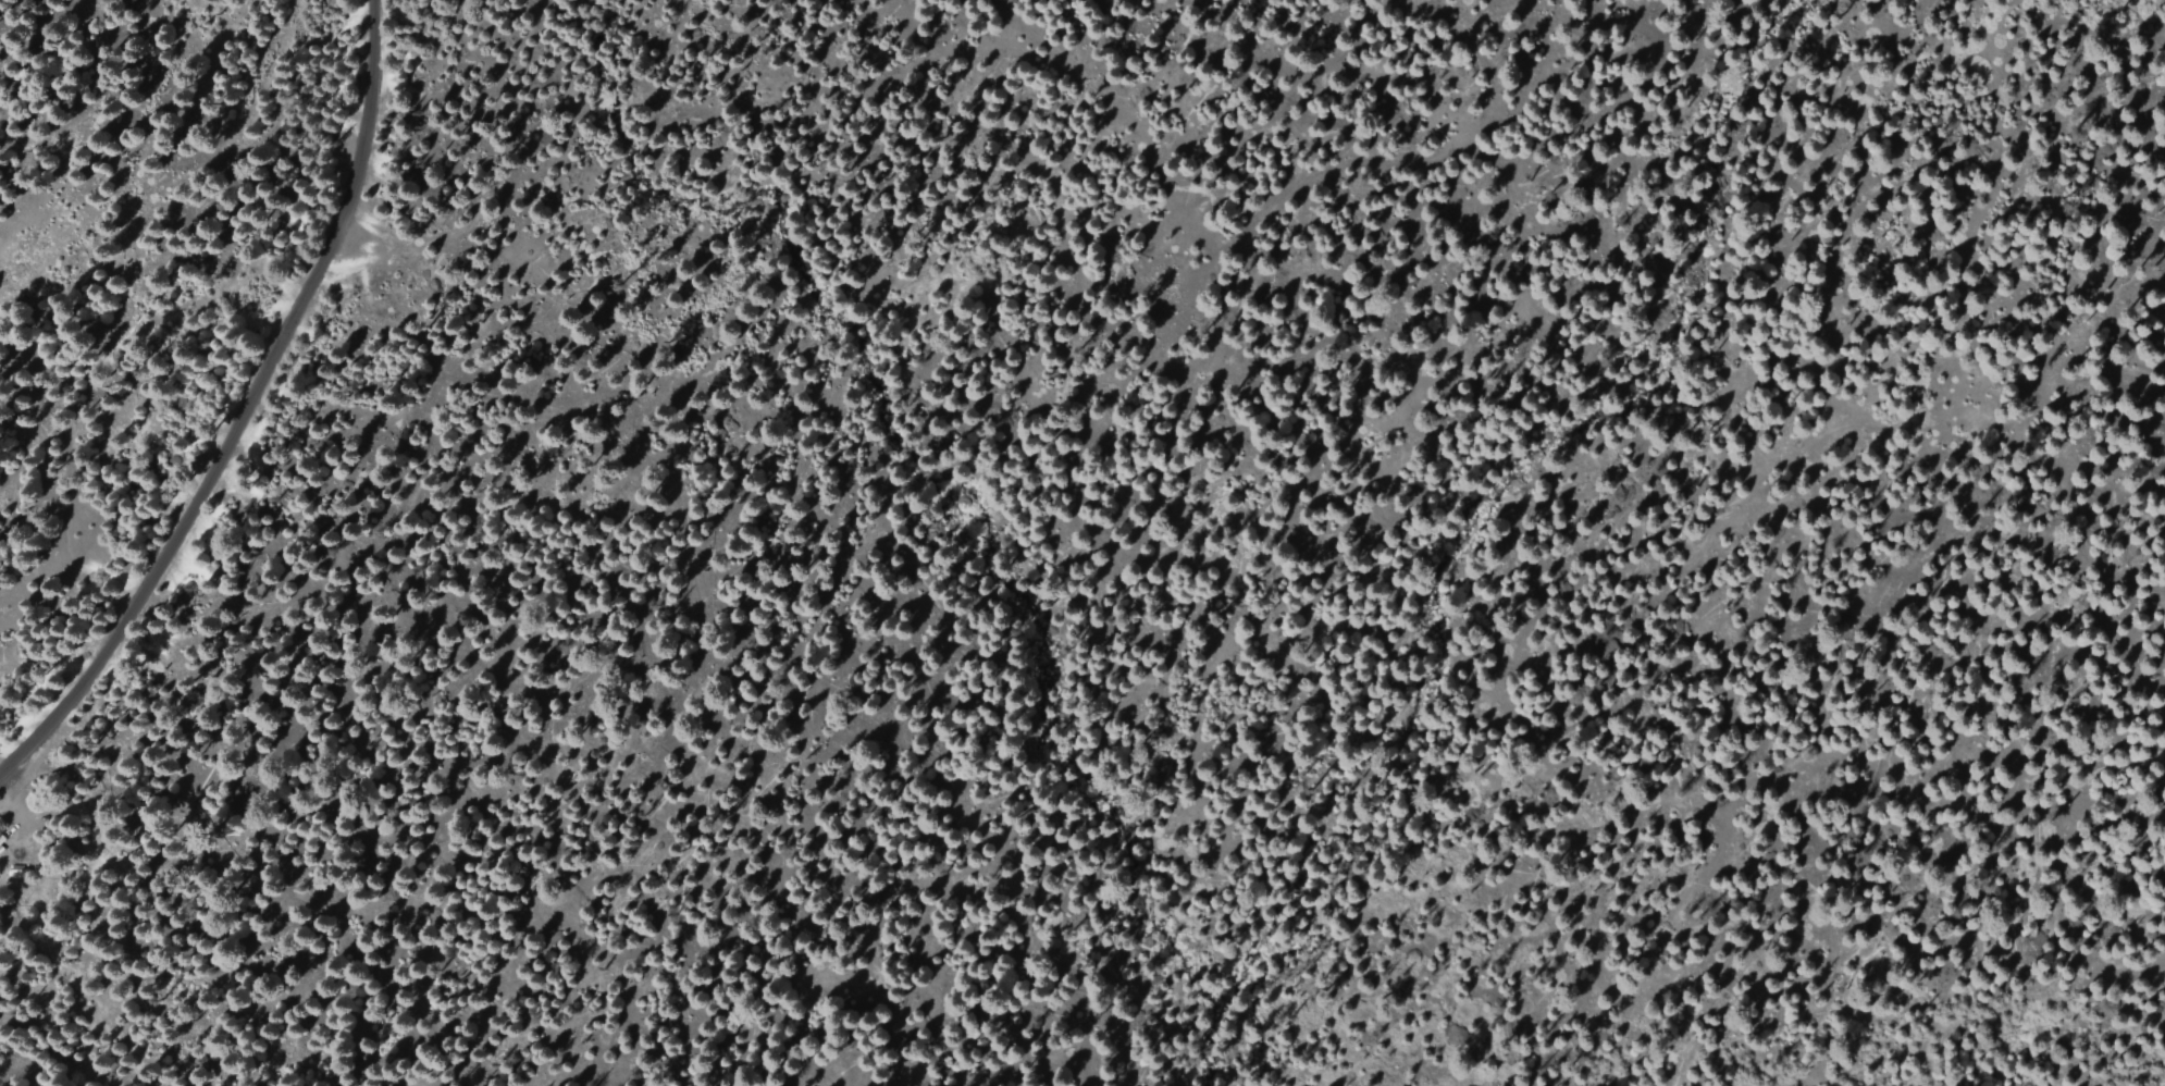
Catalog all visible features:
road: (247, 416)

